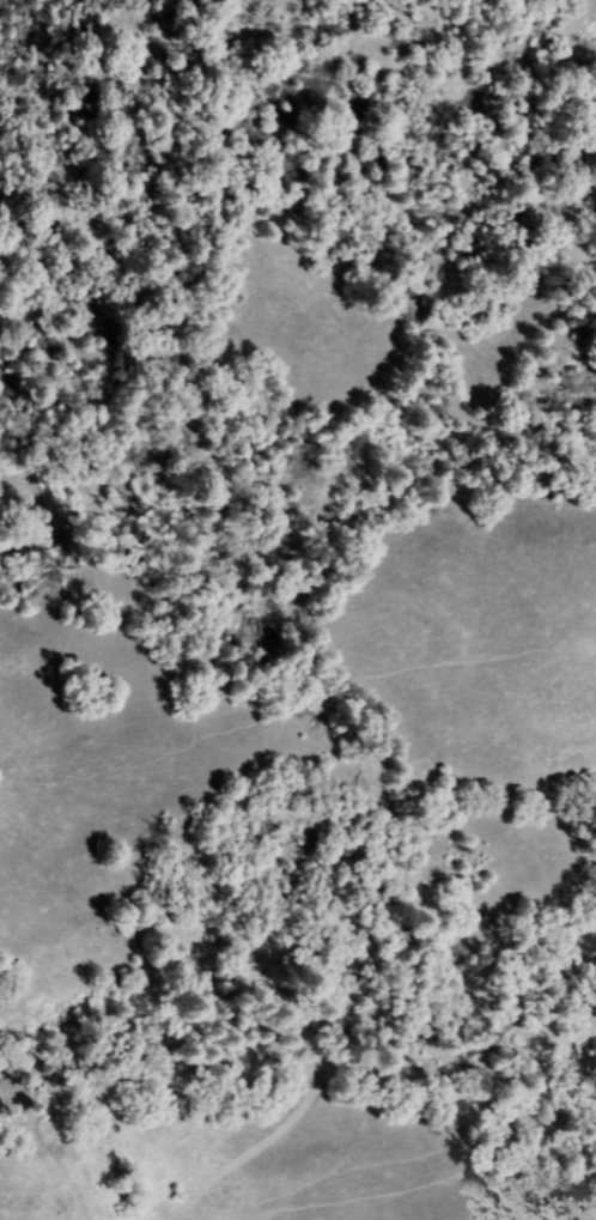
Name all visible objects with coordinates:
road: (298, 1060)

